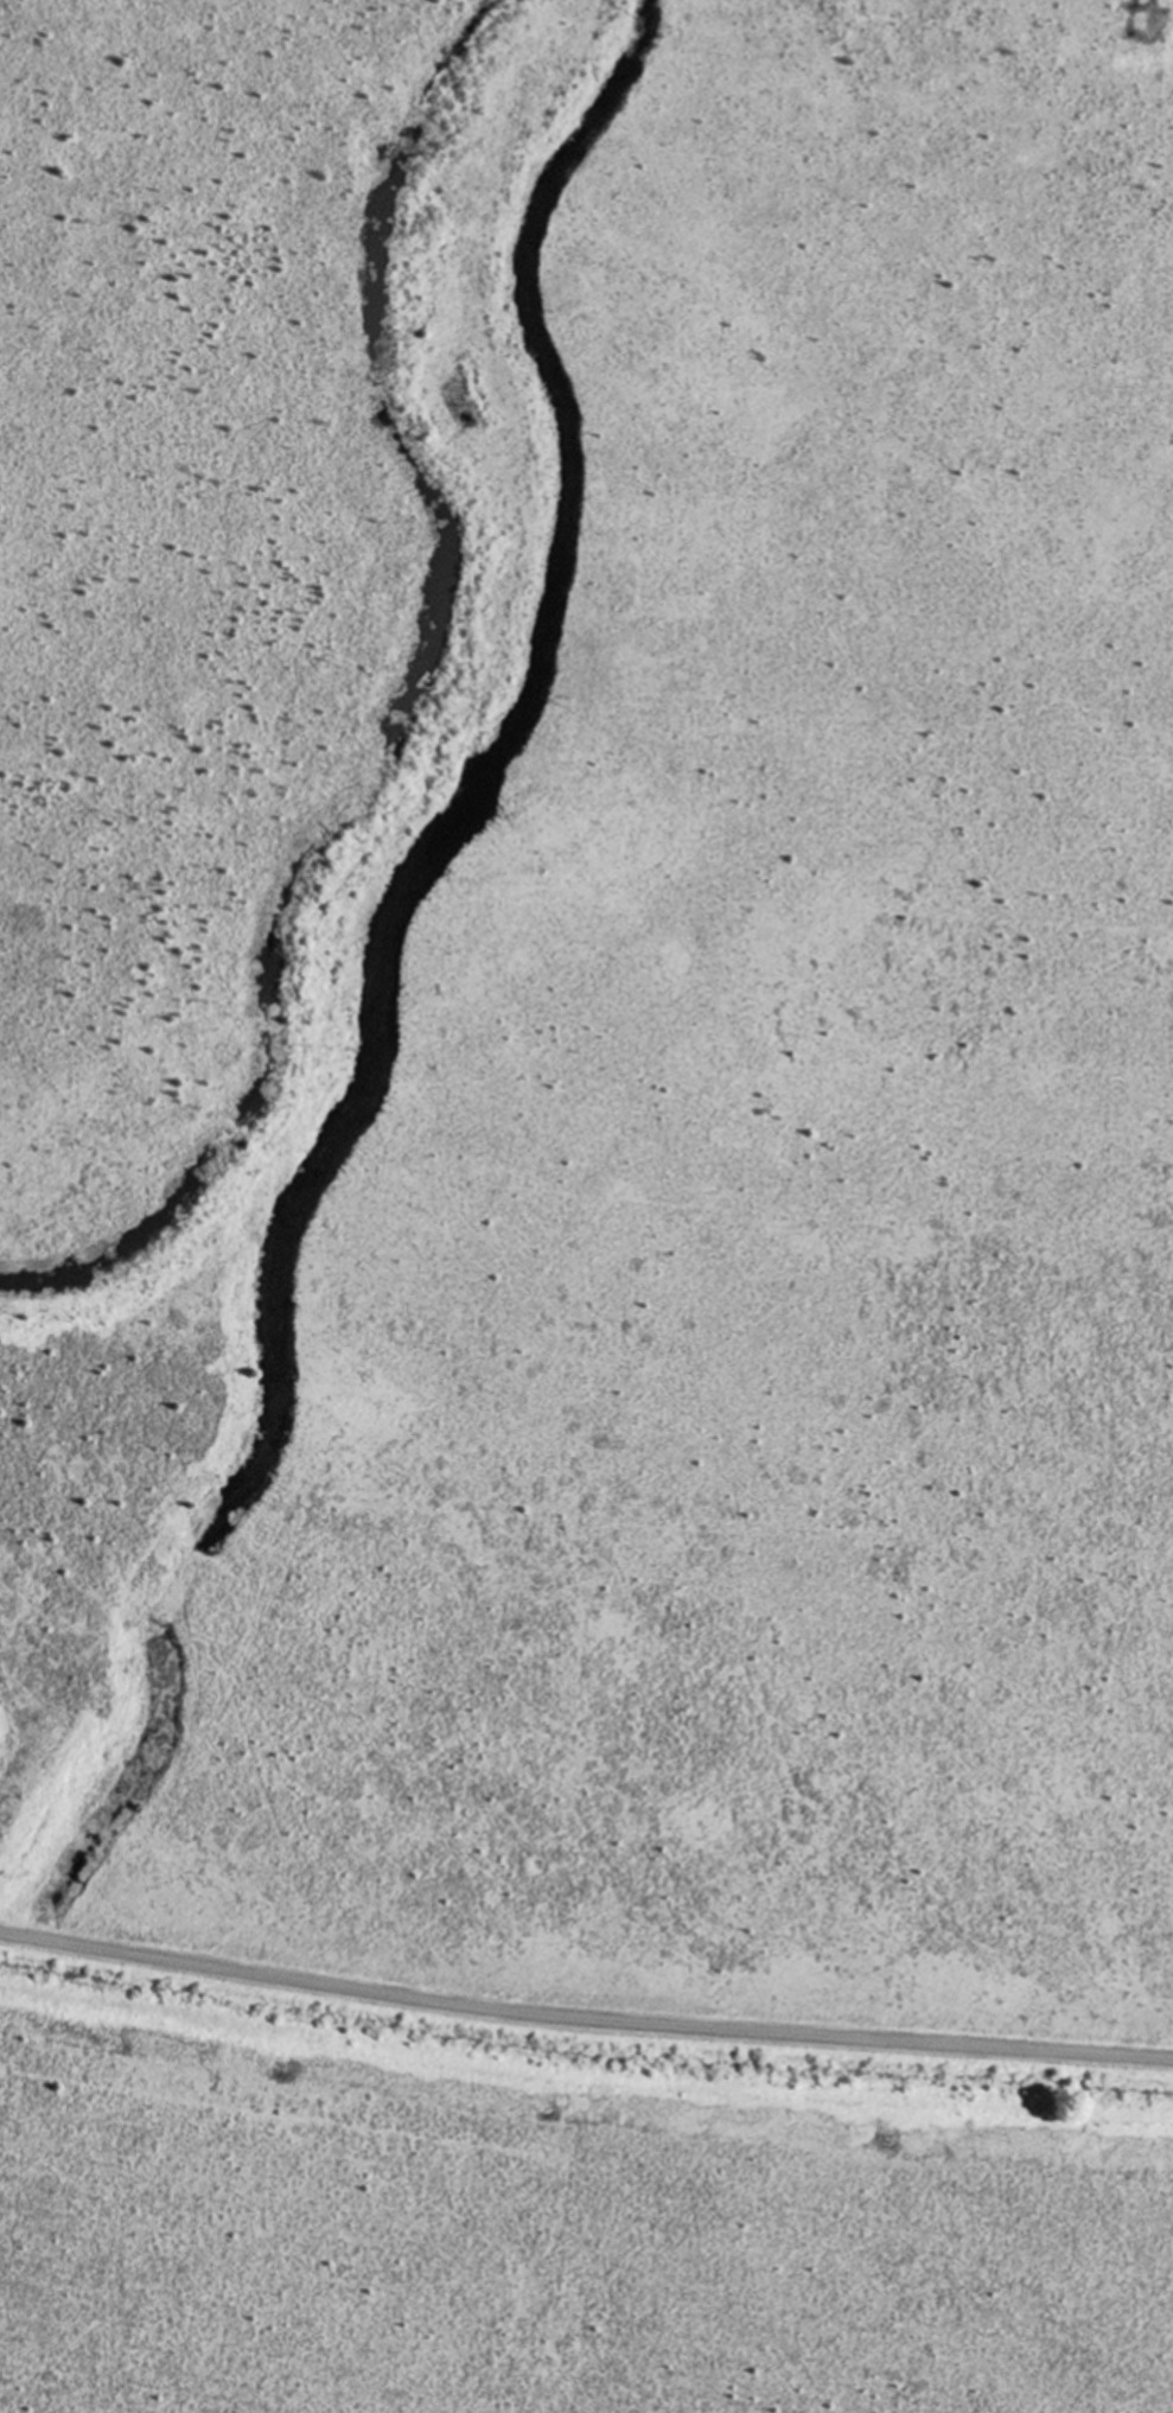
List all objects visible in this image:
road: (584, 2019)

